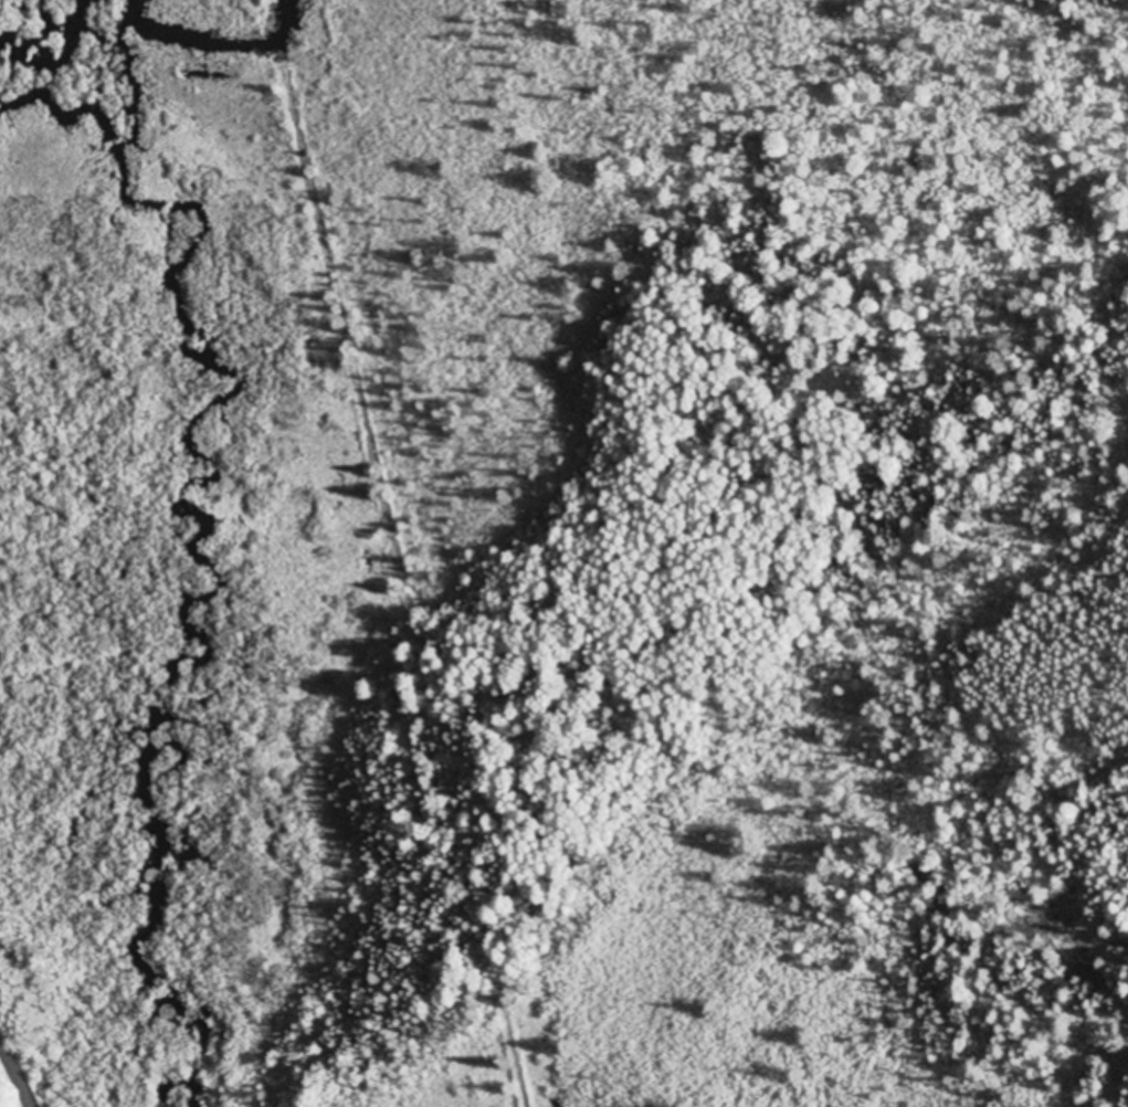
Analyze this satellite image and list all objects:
road: (14, 1073)

